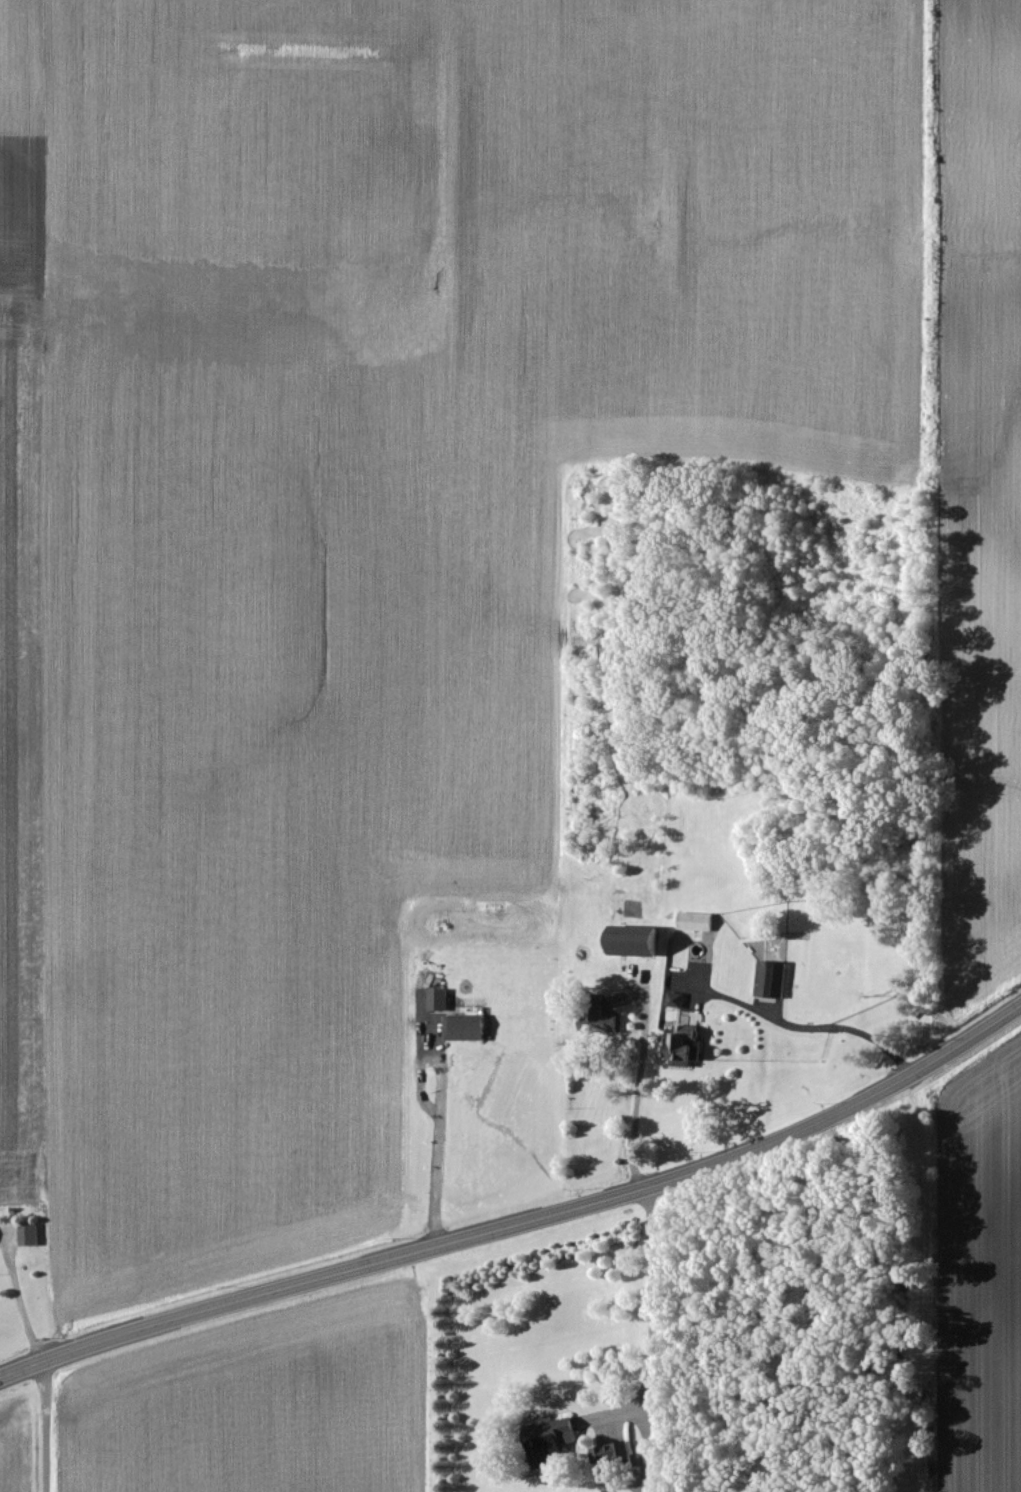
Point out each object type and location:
building: (699, 923)
building: (638, 942)
building: (774, 980)
building: (442, 1001)
building: (679, 1001)
building: (469, 1029)
road: (800, 1029)
road: (640, 1082)
road: (450, 1134)
road: (524, 1208)
building: (32, 1236)
road: (18, 1297)
road: (651, 1334)
road: (45, 1421)
building: (553, 1442)
building: (615, 1457)

